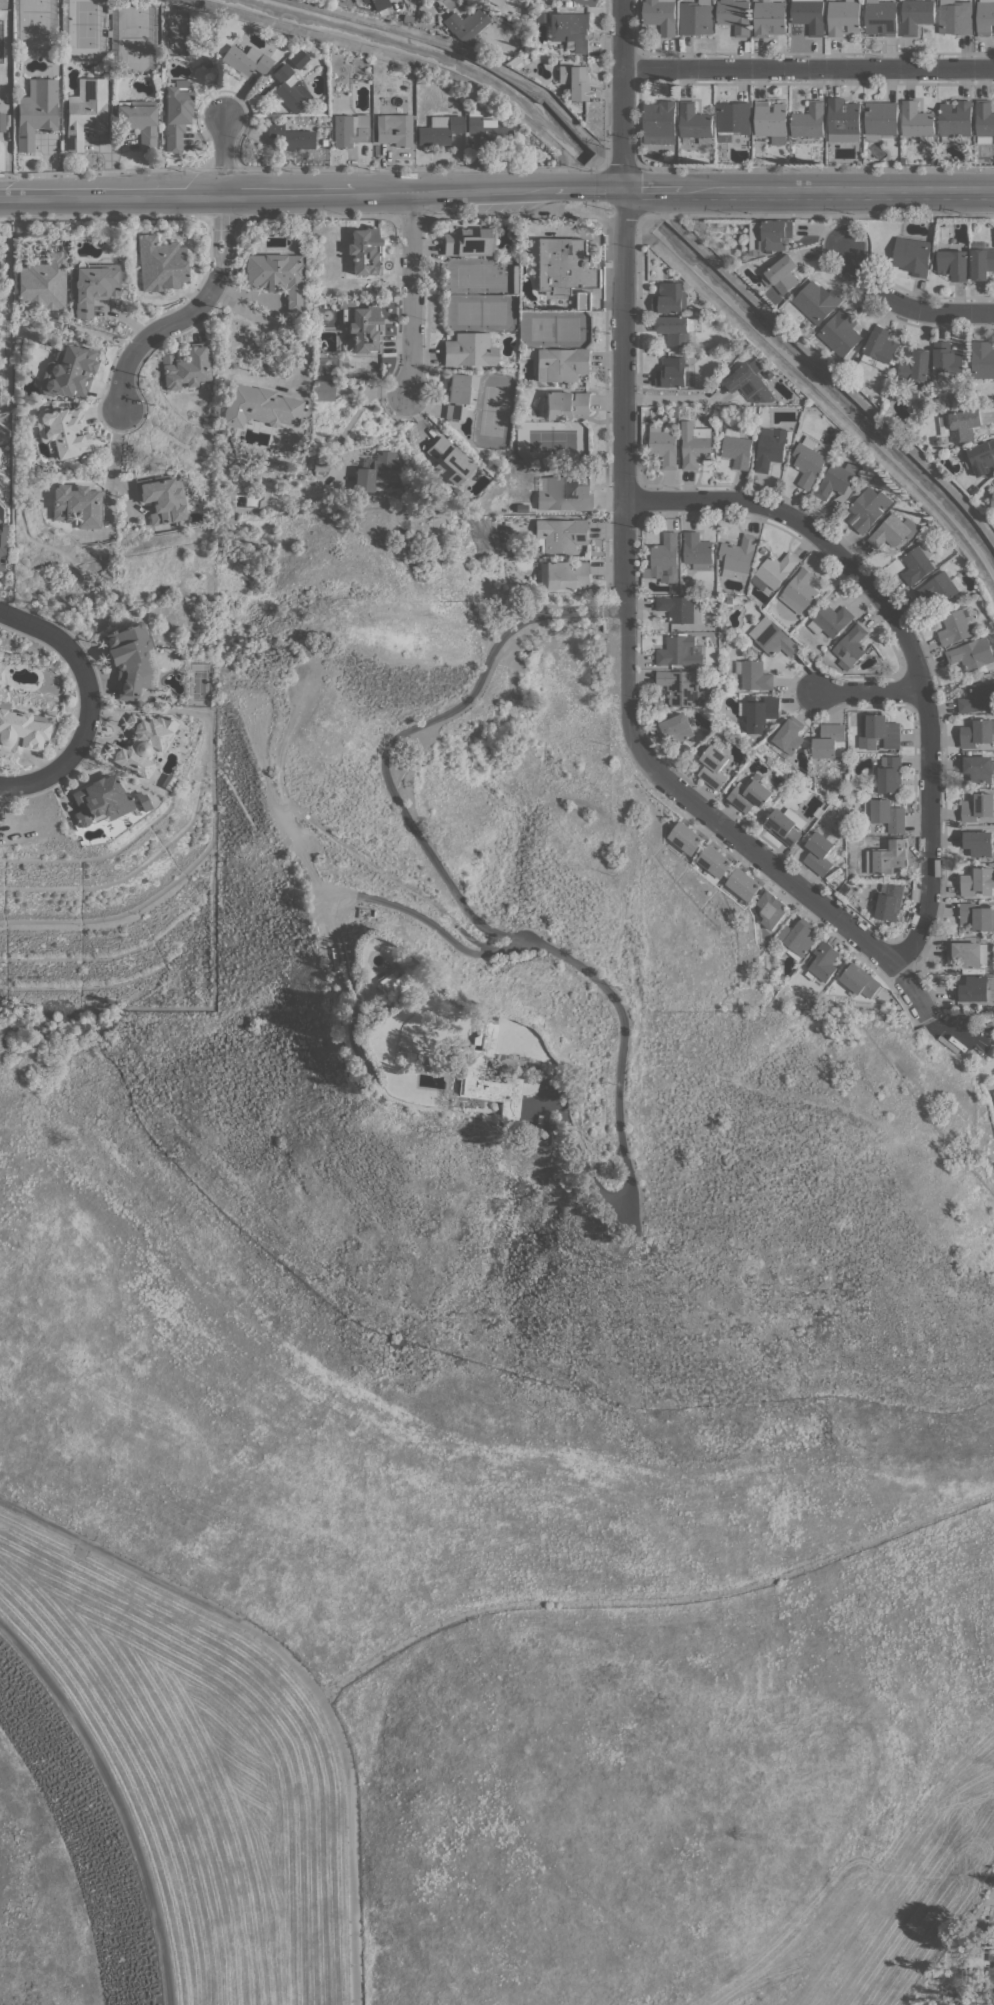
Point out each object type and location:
building: (496, 2)
building: (567, 3)
building: (379, 4)
building: (489, 14)
building: (661, 15)
building: (735, 15)
building: (809, 15)
building: (917, 15)
building: (696, 17)
building: (770, 17)
building: (844, 17)
building: (881, 17)
building: (955, 17)
building: (985, 17)
building: (465, 24)
building: (567, 28)
road: (471, 54)
building: (296, 58)
road: (406, 59)
building: (246, 60)
building: (205, 63)
building: (96, 68)
road: (808, 68)
building: (574, 80)
building: (287, 88)
road: (622, 94)
building: (406, 100)
building: (319, 106)
building: (36, 111)
building: (85, 111)
building: (176, 113)
building: (881, 118)
building: (733, 120)
building: (771, 120)
building: (809, 120)
building: (844, 120)
building: (956, 120)
building: (2, 121)
building: (138, 121)
building: (917, 121)
building: (985, 121)
building: (660, 122)
building: (695, 122)
building: (393, 128)
building: (348, 129)
building: (439, 130)
building: (488, 130)
building: (525, 134)
building: (291, 136)
building: (324, 142)
road: (222, 155)
building: (932, 160)
building: (903, 161)
road: (307, 167)
road: (621, 167)
road: (817, 168)
road: (496, 189)
road: (470, 215)
road: (808, 215)
road: (410, 216)
road: (100, 217)
road: (221, 217)
road: (318, 217)
road: (220, 232)
building: (769, 236)
building: (470, 242)
building: (365, 251)
building: (912, 255)
building: (981, 260)
building: (160, 263)
building: (953, 264)
building: (565, 266)
building: (783, 274)
building: (276, 275)
building: (43, 282)
building: (93, 285)
road: (411, 293)
building: (670, 298)
building: (583, 300)
building: (817, 301)
road: (905, 305)
road: (275, 326)
building: (362, 326)
building: (676, 329)
road: (156, 331)
building: (841, 333)
building: (880, 348)
building: (470, 349)
building: (697, 356)
building: (947, 359)
building: (982, 359)
building: (327, 364)
building: (562, 364)
road: (824, 364)
building: (186, 366)
building: (914, 369)
building: (68, 371)
building: (675, 372)
building: (769, 373)
building: (749, 383)
building: (323, 390)
building: (459, 394)
road: (675, 397)
building: (892, 397)
road: (820, 400)
road: (363, 401)
building: (565, 404)
building: (260, 406)
building: (889, 409)
building: (944, 424)
building: (964, 424)
building: (63, 431)
building: (645, 437)
building: (938, 442)
building: (696, 444)
building: (664, 445)
building: (771, 446)
building: (737, 447)
building: (981, 457)
building: (40, 459)
building: (449, 460)
building: (808, 461)
building: (872, 463)
road: (110, 470)
building: (376, 470)
building: (837, 479)
building: (975, 489)
building: (563, 492)
building: (162, 498)
road: (681, 500)
building: (993, 504)
building: (78, 505)
building: (521, 507)
building: (869, 508)
building: (894, 531)
building: (562, 534)
building: (1, 545)
building: (698, 551)
building: (737, 555)
building: (666, 558)
building: (919, 562)
building: (774, 570)
building: (564, 574)
building: (941, 587)
building: (799, 590)
building: (681, 608)
building: (831, 620)
building: (958, 624)
building: (773, 637)
building: (851, 646)
building: (682, 650)
building: (973, 653)
building: (131, 660)
road: (625, 669)
building: (754, 674)
building: (1, 676)
building: (993, 680)
building: (681, 686)
road: (869, 690)
road: (923, 693)
building: (978, 698)
road: (91, 700)
building: (759, 712)
building: (659, 716)
building: (676, 727)
building: (20, 730)
building: (879, 731)
building: (977, 732)
building: (788, 737)
building: (830, 740)
building: (142, 742)
building: (715, 764)
building: (978, 767)
building: (888, 775)
building: (167, 781)
building: (752, 792)
building: (100, 800)
building: (142, 801)
building: (978, 807)
building: (889, 815)
building: (786, 825)
building: (686, 837)
building: (978, 842)
building: (819, 853)
building: (888, 857)
building: (715, 861)
building: (978, 881)
building: (744, 884)
building: (887, 902)
building: (772, 909)
building: (977, 916)
road: (472, 917)
road: (428, 922)
building: (796, 938)
building: (969, 953)
building: (822, 962)
building: (860, 980)
building: (392, 983)
building: (976, 988)
road: (949, 1027)
building: (476, 1071)
building: (993, 1092)
road: (168, 1586)
road: (654, 1600)
road: (115, 1800)
road: (351, 1847)

